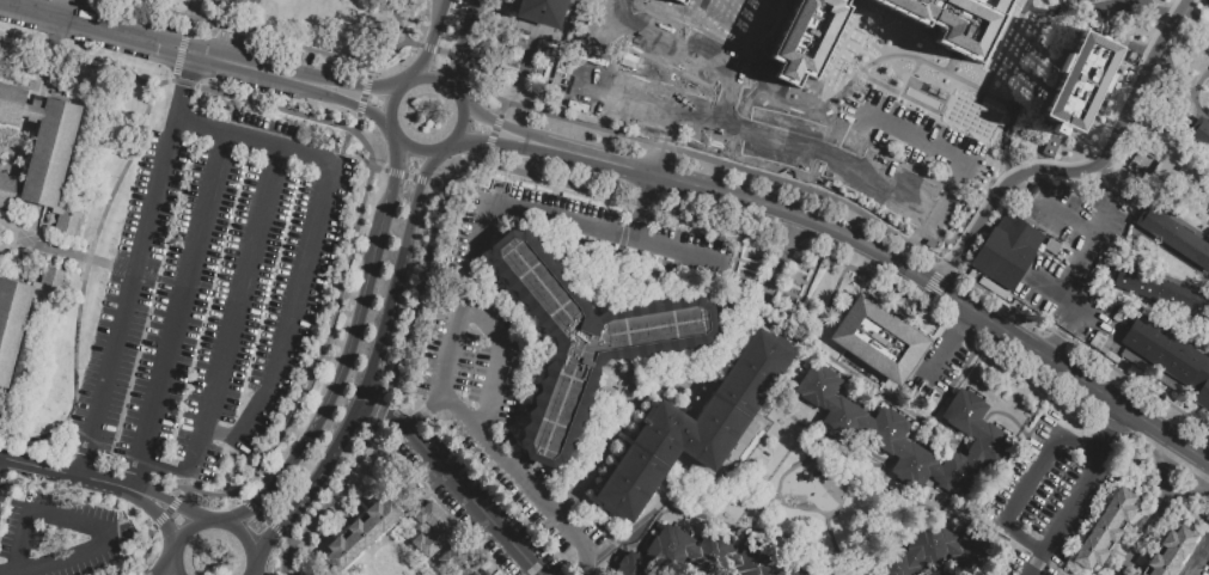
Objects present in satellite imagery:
building: (680, 0)
building: (1077, 0)
park: (239, 5)
road: (55, 6)
building: (543, 10)
road: (697, 11)
road: (469, 12)
road: (1195, 16)
road: (576, 18)
building: (952, 20)
road: (737, 23)
road: (744, 23)
road: (769, 30)
road: (558, 38)
road: (602, 38)
road: (431, 39)
road: (184, 41)
building: (805, 41)
road: (165, 42)
road: (286, 43)
road: (411, 43)
road: (1005, 44)
road: (429, 48)
road: (59, 49)
road: (442, 51)
road: (457, 54)
road: (457, 57)
road: (471, 59)
road: (371, 71)
parking lot: (653, 72)
road: (1205, 72)
building: (1085, 75)
road: (436, 77)
building: (582, 79)
road: (825, 79)
road: (849, 84)
road: (360, 85)
road: (367, 85)
road: (152, 86)
road: (364, 97)
building: (635, 97)
road: (358, 103)
building: (10, 104)
road: (389, 104)
road: (360, 106)
road: (502, 109)
building: (29, 110)
road: (547, 111)
road: (1199, 111)
road: (1185, 115)
road: (356, 121)
road: (496, 122)
road: (1154, 122)
road: (462, 123)
road: (500, 124)
road: (494, 131)
building: (1202, 133)
building: (770, 134)
road: (825, 136)
road: (488, 141)
road: (495, 141)
road: (416, 149)
building: (825, 152)
parking lot: (881, 157)
road: (483, 159)
road: (704, 159)
building: (45, 165)
road: (379, 169)
road: (1079, 169)
building: (887, 171)
road: (396, 173)
road: (408, 177)
road: (420, 179)
building: (845, 183)
road: (440, 184)
road: (582, 190)
road: (898, 194)
road: (642, 203)
road: (1049, 204)
road: (643, 208)
road: (1134, 222)
road: (309, 241)
building: (1177, 241)
road: (1128, 249)
road: (433, 251)
building: (1007, 251)
road: (72, 253)
road: (893, 259)
road: (138, 263)
road: (85, 265)
road: (352, 268)
road: (398, 269)
road: (133, 270)
road: (1117, 273)
road: (1170, 277)
road: (969, 279)
parking lot: (209, 287)
road: (1208, 289)
building: (1161, 292)
road: (462, 296)
road: (921, 301)
road: (1068, 302)
building: (20, 308)
road: (234, 310)
road: (178, 313)
road: (966, 317)
road: (1155, 317)
road: (1071, 319)
road: (1192, 322)
road: (819, 324)
road: (353, 334)
building: (591, 338)
building: (877, 340)
road: (1056, 343)
road: (1203, 348)
road: (945, 350)
building: (1170, 356)
road: (496, 361)
parking lot: (939, 368)
road: (130, 372)
parking lot: (512, 380)
road: (691, 380)
road: (885, 396)
road: (378, 409)
road: (425, 412)
building: (686, 428)
building: (873, 429)
road: (57, 448)
road: (81, 458)
road: (165, 464)
road: (39, 466)
road: (105, 466)
road: (1184, 470)
road: (190, 475)
road: (132, 476)
road: (313, 481)
road: (454, 481)
road: (190, 483)
road: (1207, 483)
road: (1028, 484)
road: (112, 485)
road: (1172, 489)
road: (181, 491)
road: (1079, 494)
road: (239, 495)
parking lot: (1048, 496)
road: (173, 502)
road: (177, 504)
road: (335, 506)
road: (252, 507)
road: (169, 509)
road: (649, 513)
road: (238, 514)
road: (264, 516)
road: (161, 518)
road: (158, 520)
road: (354, 522)
road: (190, 526)
road: (275, 526)
road: (88, 528)
building: (431, 528)
building: (1105, 528)
building: (360, 532)
road: (1144, 532)
parking lot: (59, 533)
road: (245, 536)
road: (287, 537)
road: (401, 549)
building: (939, 551)
building: (1170, 551)
road: (366, 553)
building: (708, 556)
road: (1198, 558)
road: (141, 559)
parking lot: (1198, 559)
building: (459, 561)
road: (164, 565)
road: (173, 565)
road: (142, 567)
road: (252, 567)
road: (1056, 567)
road: (6, 569)
road: (370, 571)
road: (146, 573)
road: (250, 573)
road: (251, 573)
building: (853, 573)
parking lot: (932, 574)
building: (1141, 574)

